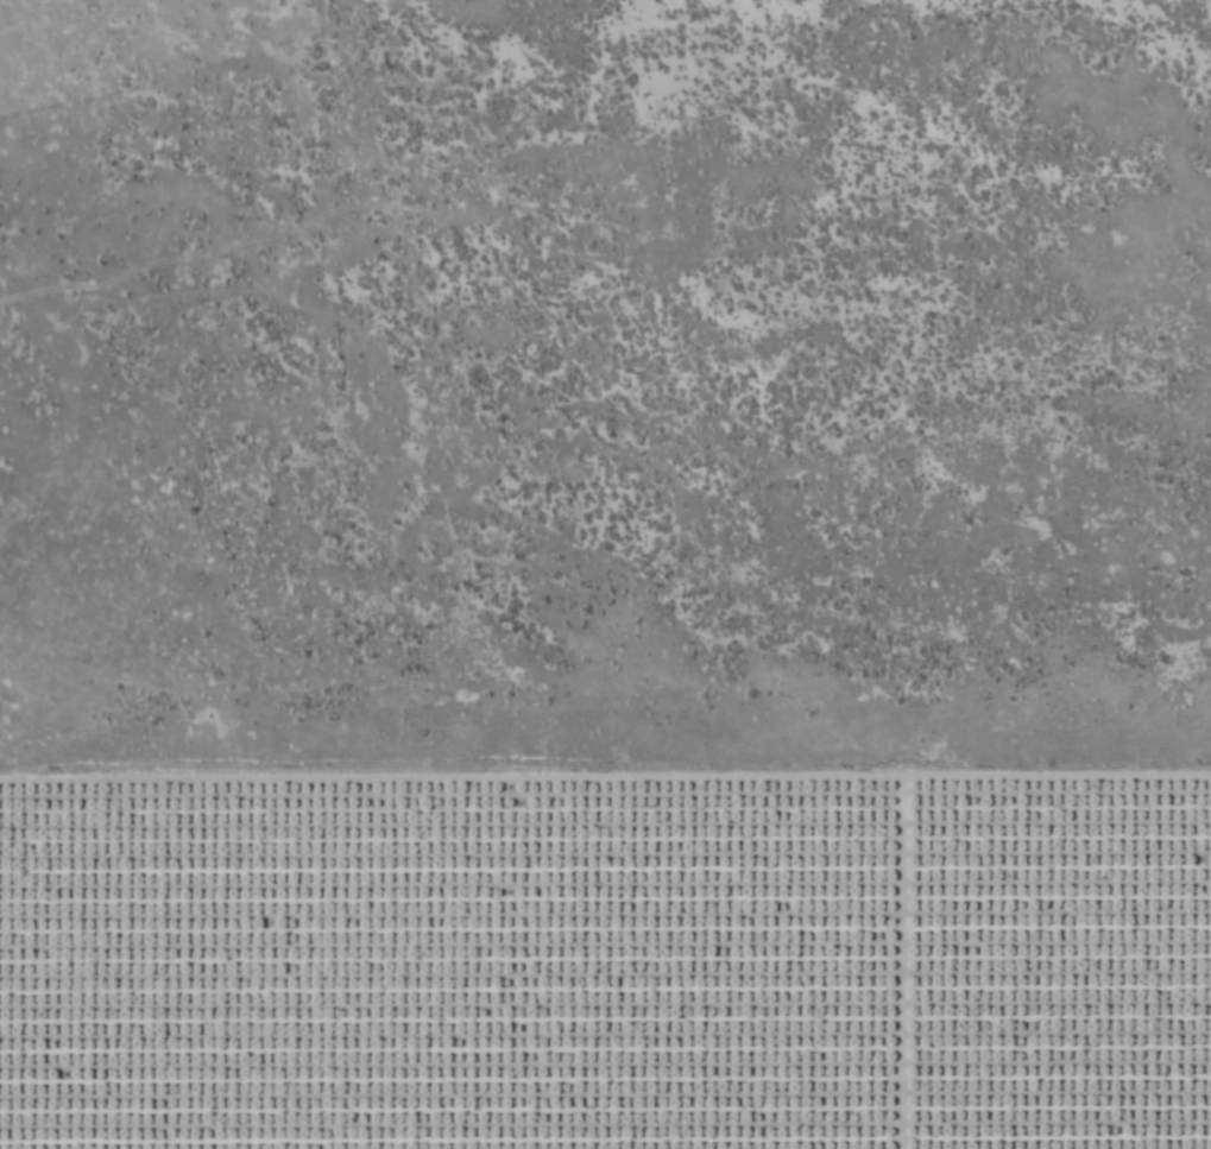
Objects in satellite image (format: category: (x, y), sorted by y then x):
road: (605, 781)
road: (894, 965)

